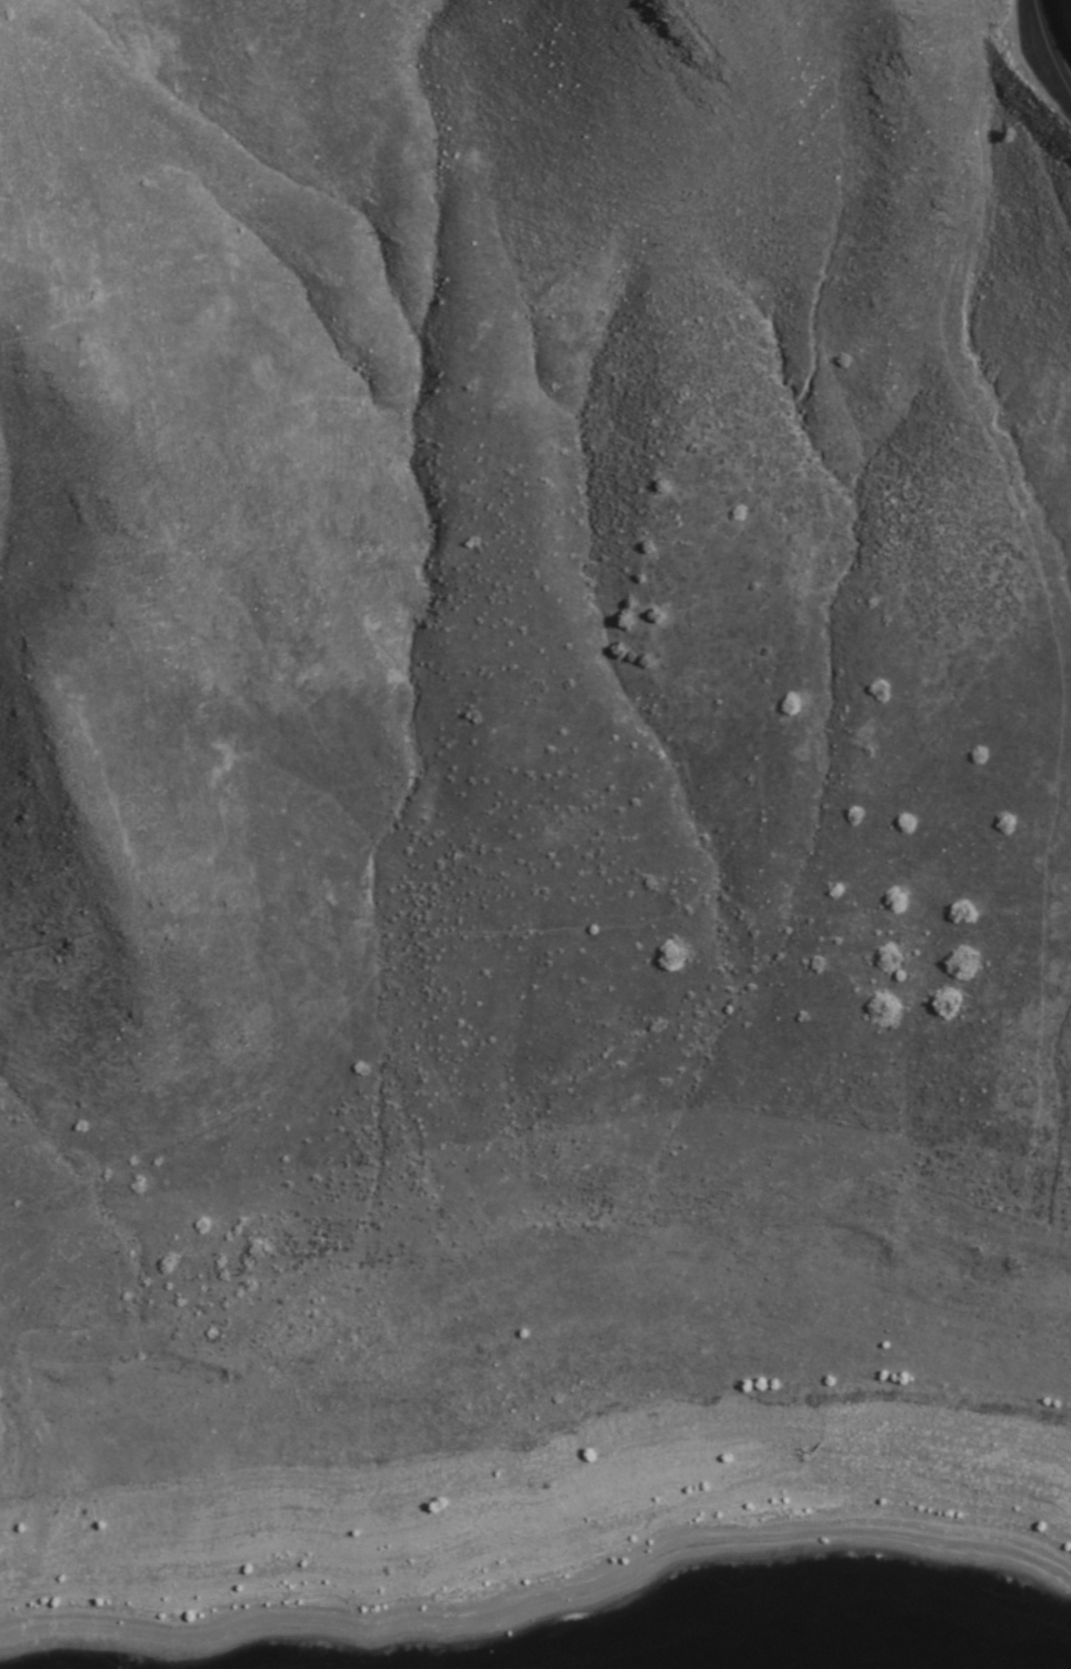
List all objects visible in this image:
road: (1055, 36)
road: (1065, 711)
road: (527, 947)
road: (763, 1059)
road: (984, 1127)
road: (518, 1246)

